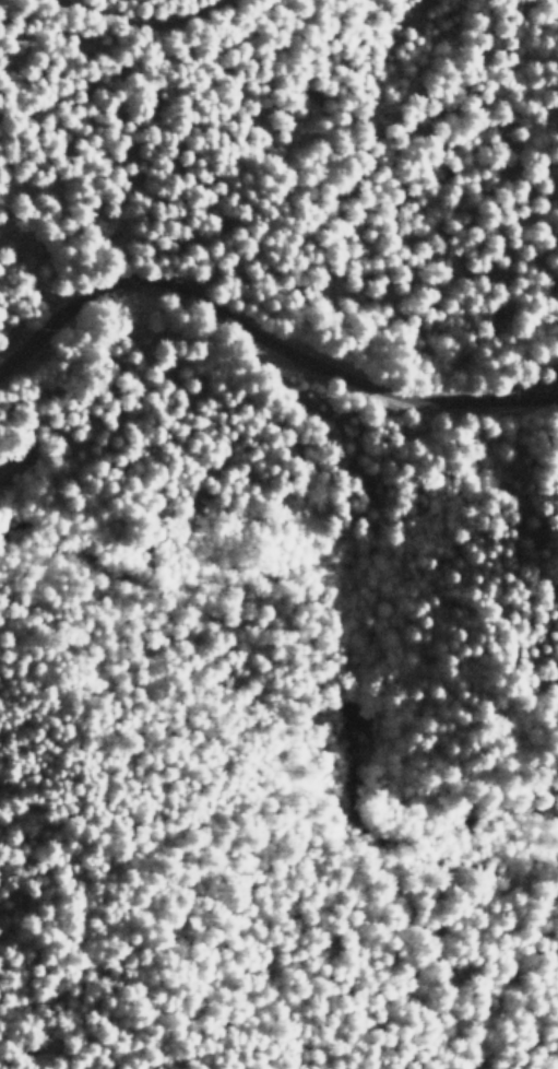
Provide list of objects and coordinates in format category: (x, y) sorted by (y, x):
road: (131, 28)
road: (262, 340)

